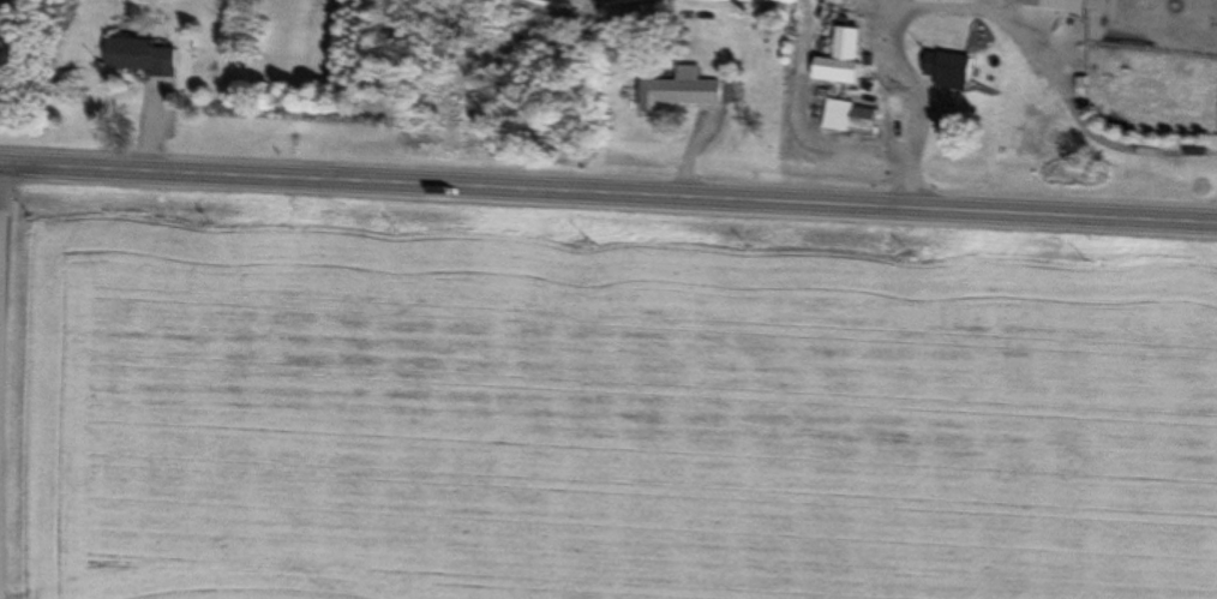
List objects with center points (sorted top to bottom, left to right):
road: (880, 4)
road: (983, 10)
building: (1059, 19)
building: (139, 59)
building: (846, 72)
building: (683, 92)
road: (798, 107)
building: (855, 118)
road: (608, 194)
road: (1, 199)

